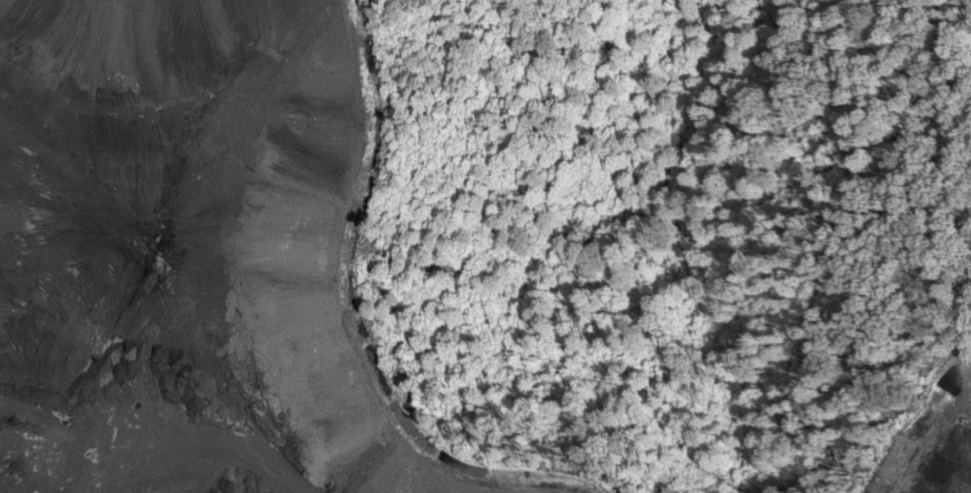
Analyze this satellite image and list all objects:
quarry: (217, 266)
building: (161, 433)
quarry: (908, 440)

